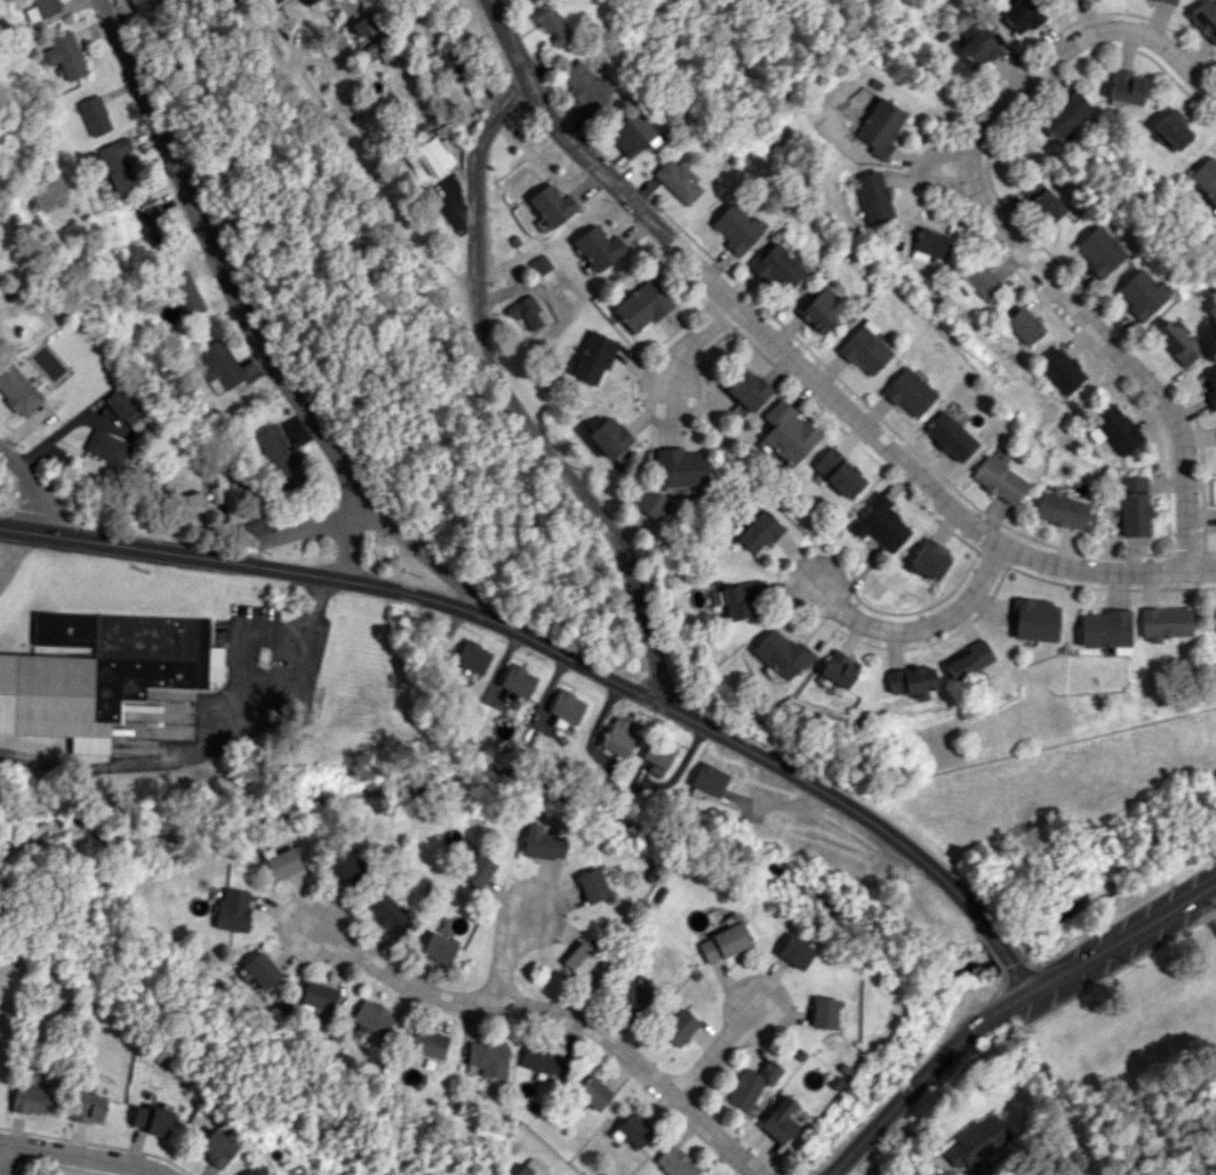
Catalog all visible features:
building: (304, 0)
building: (1168, 1)
building: (40, 8)
building: (1020, 15)
building: (1205, 18)
building: (549, 23)
building: (373, 38)
building: (977, 48)
building: (64, 55)
building: (452, 64)
road: (526, 73)
building: (583, 86)
building: (1124, 86)
building: (1062, 114)
building: (93, 115)
building: (878, 127)
building: (1170, 128)
building: (630, 133)
building: (435, 153)
building: (115, 164)
building: (1205, 178)
road: (478, 180)
building: (676, 180)
building: (870, 197)
building: (1038, 197)
building: (550, 205)
building: (153, 224)
building: (735, 228)
road: (1004, 230)
building: (929, 243)
building: (598, 247)
building: (1096, 251)
building: (540, 264)
building: (773, 265)
building: (978, 280)
building: (183, 294)
building: (1138, 294)
building: (640, 305)
building: (820, 308)
building: (525, 311)
building: (1023, 325)
road: (257, 326)
road: (476, 329)
building: (1175, 342)
road: (695, 343)
building: (863, 348)
building: (593, 357)
building: (218, 366)
building: (1061, 371)
building: (1209, 388)
building: (17, 390)
building: (746, 392)
building: (908, 392)
building: (116, 402)
road: (862, 422)
building: (1113, 429)
building: (786, 432)
building: (949, 436)
building: (607, 437)
road: (45, 440)
building: (105, 447)
building: (279, 455)
building: (678, 466)
building: (837, 472)
building: (999, 480)
road: (24, 492)
building: (650, 503)
building: (1132, 505)
building: (192, 506)
building: (1060, 510)
building: (879, 523)
road: (343, 531)
building: (757, 532)
road: (10, 551)
building: (927, 560)
building: (737, 601)
road: (314, 603)
building: (1215, 619)
building: (1033, 620)
road: (917, 623)
building: (1163, 623)
building: (1104, 630)
road: (238, 644)
building: (780, 653)
building: (472, 657)
road: (564, 657)
building: (965, 660)
building: (158, 669)
building: (837, 669)
building: (516, 680)
building: (909, 681)
building: (51, 699)
building: (566, 705)
building: (618, 736)
road: (184, 751)
building: (657, 751)
building: (707, 779)
building: (541, 842)
building: (280, 861)
building: (344, 865)
building: (475, 870)
building: (590, 884)
building: (232, 909)
building: (387, 912)
road: (1199, 921)
building: (721, 942)
building: (438, 947)
building: (793, 951)
road: (504, 952)
building: (578, 958)
building: (261, 969)
building: (628, 992)
building: (318, 996)
road: (1010, 1008)
building: (822, 1011)
road: (550, 1014)
building: (372, 1016)
building: (678, 1027)
building: (427, 1043)
road: (717, 1054)
building: (487, 1057)
building: (543, 1060)
building: (750, 1084)
building: (592, 1093)
building: (34, 1099)
building: (86, 1106)
building: (149, 1119)
building: (778, 1120)
building: (633, 1130)
building: (976, 1141)
building: (215, 1147)
road: (59, 1162)
building: (674, 1162)
road: (5, 1163)
building: (529, 1167)
building: (249, 1171)

